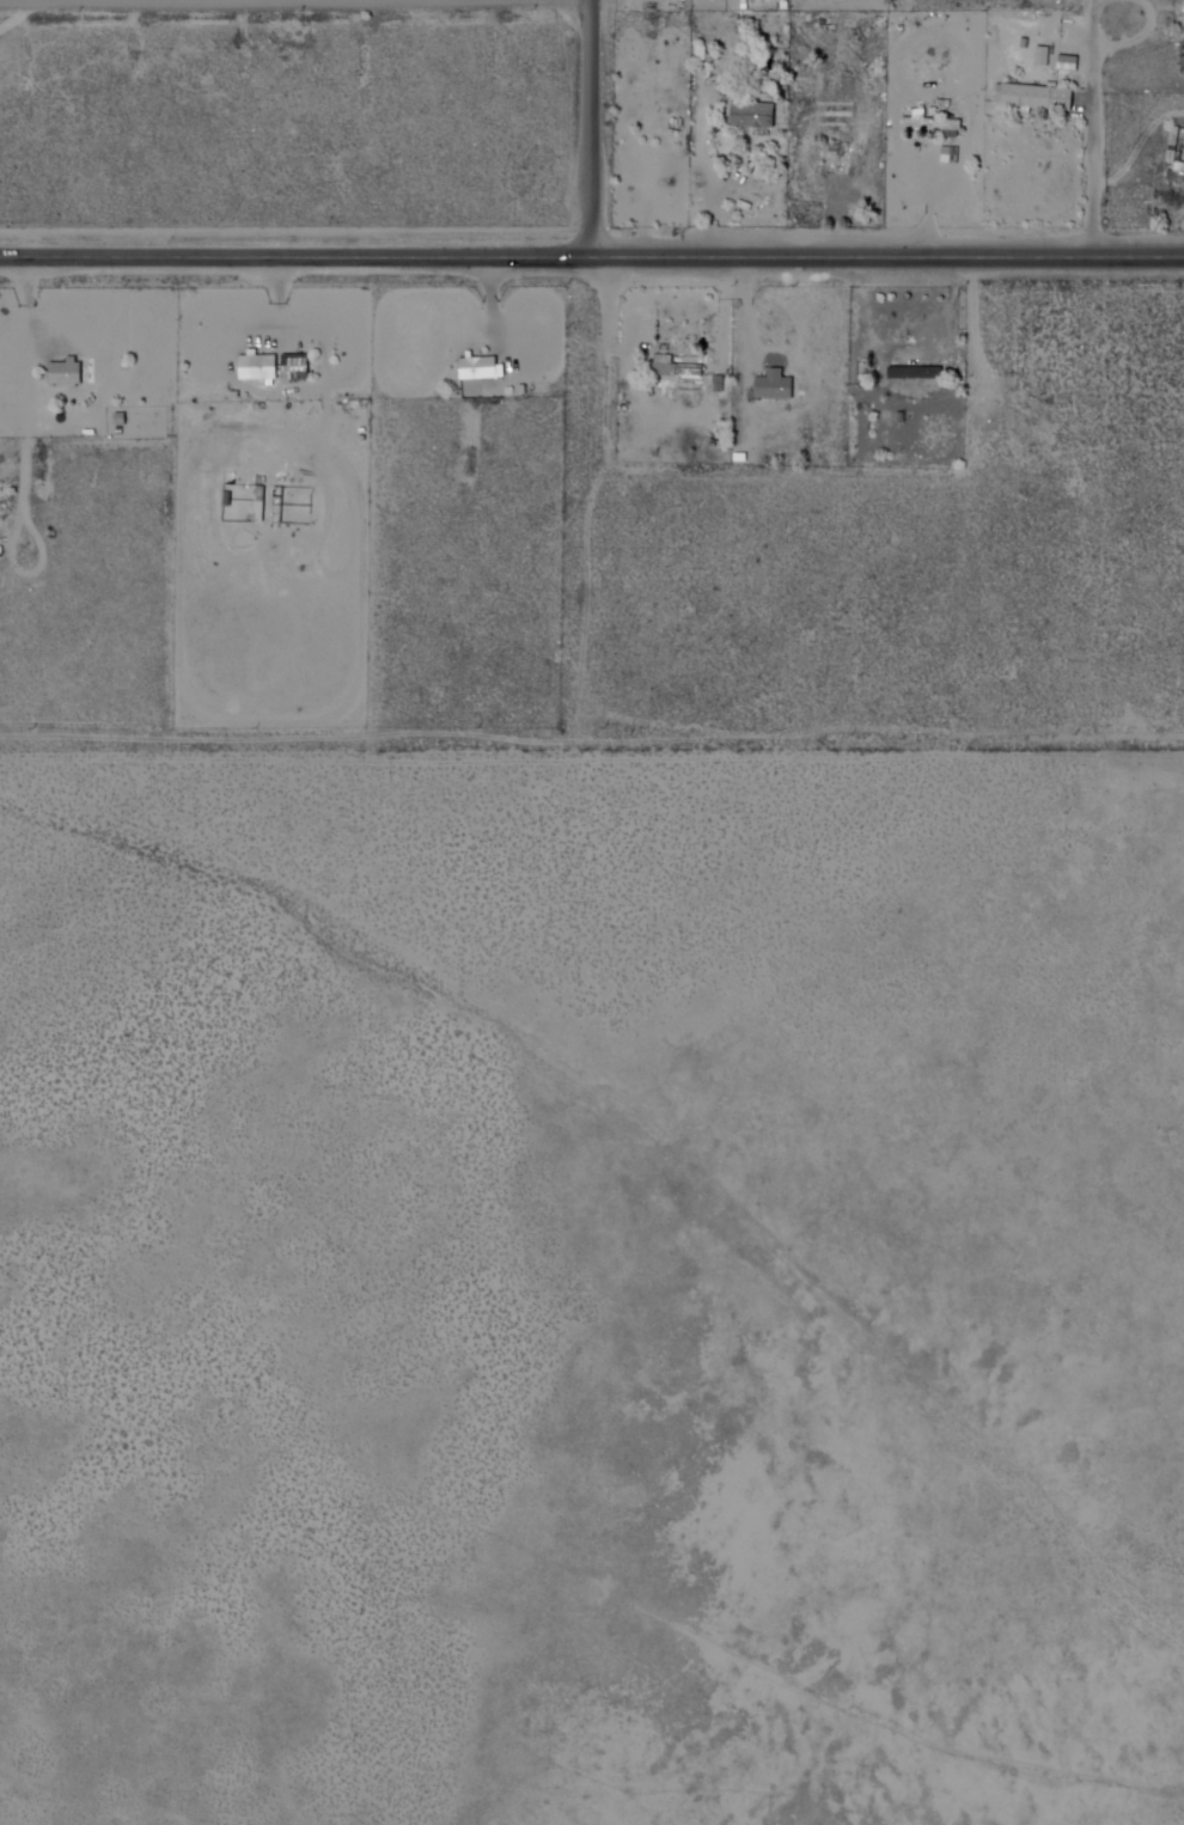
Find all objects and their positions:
building: (1182, 20)
building: (1040, 97)
building: (762, 104)
building: (840, 115)
building: (757, 117)
building: (936, 123)
road: (602, 128)
road: (1091, 129)
building: (1179, 144)
building: (836, 165)
building: (1178, 172)
road: (592, 258)
building: (264, 365)
building: (483, 366)
building: (679, 367)
building: (69, 371)
building: (914, 376)
building: (779, 387)

